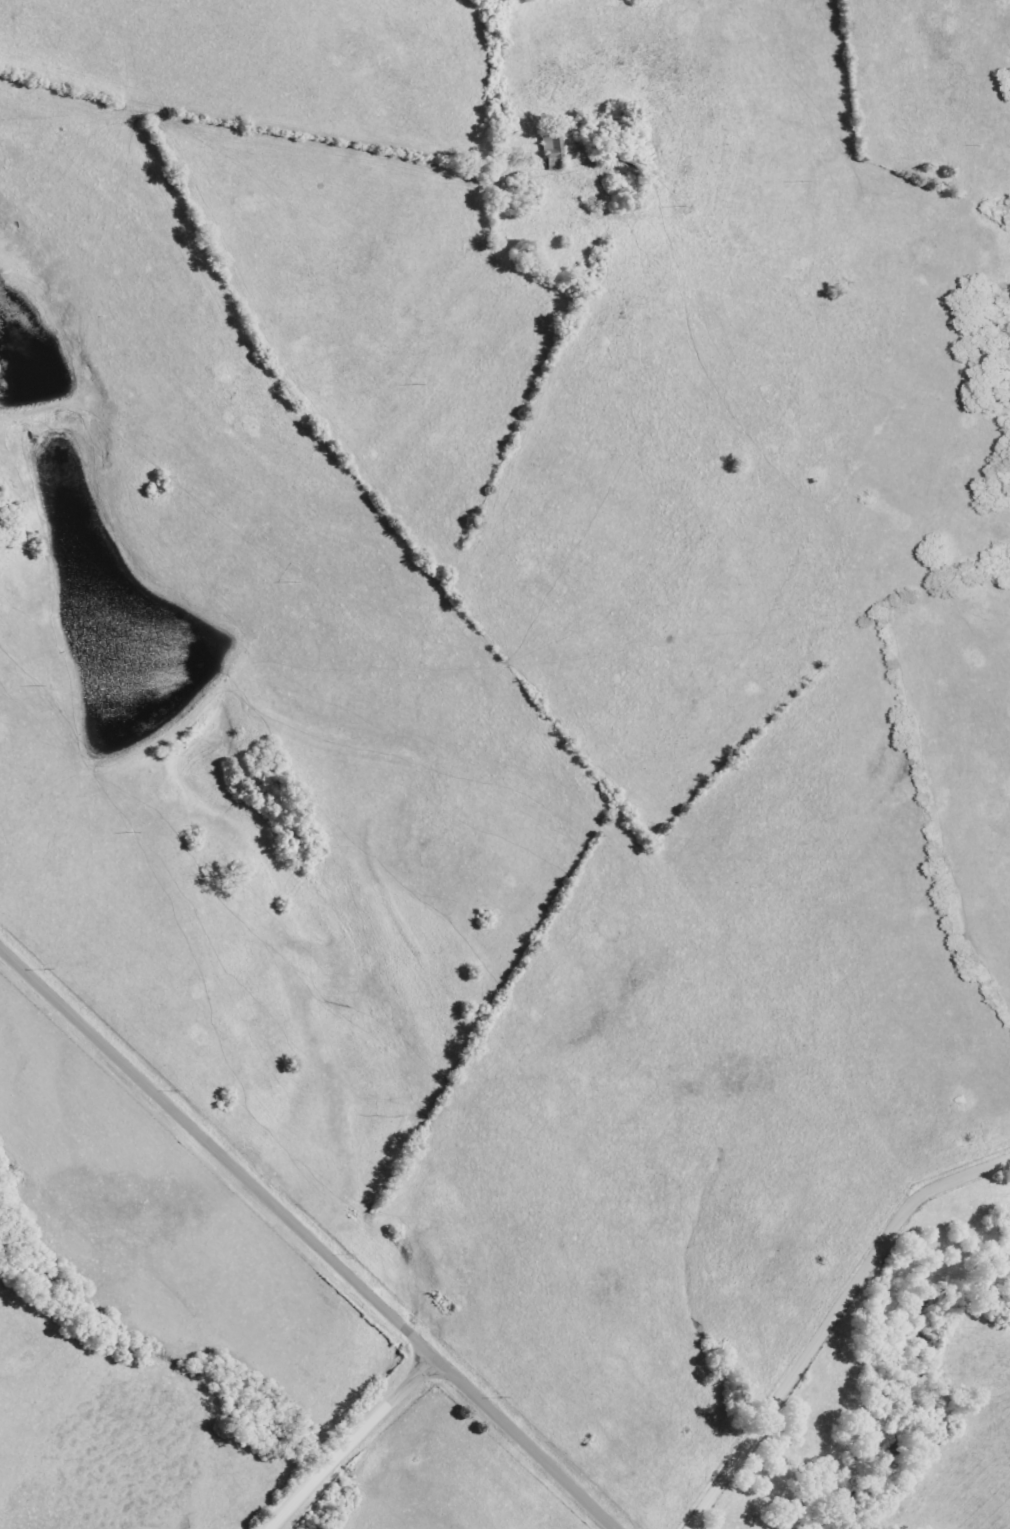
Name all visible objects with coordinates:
building: (552, 151)
road: (308, 1239)
road: (830, 1321)
road: (355, 1443)

